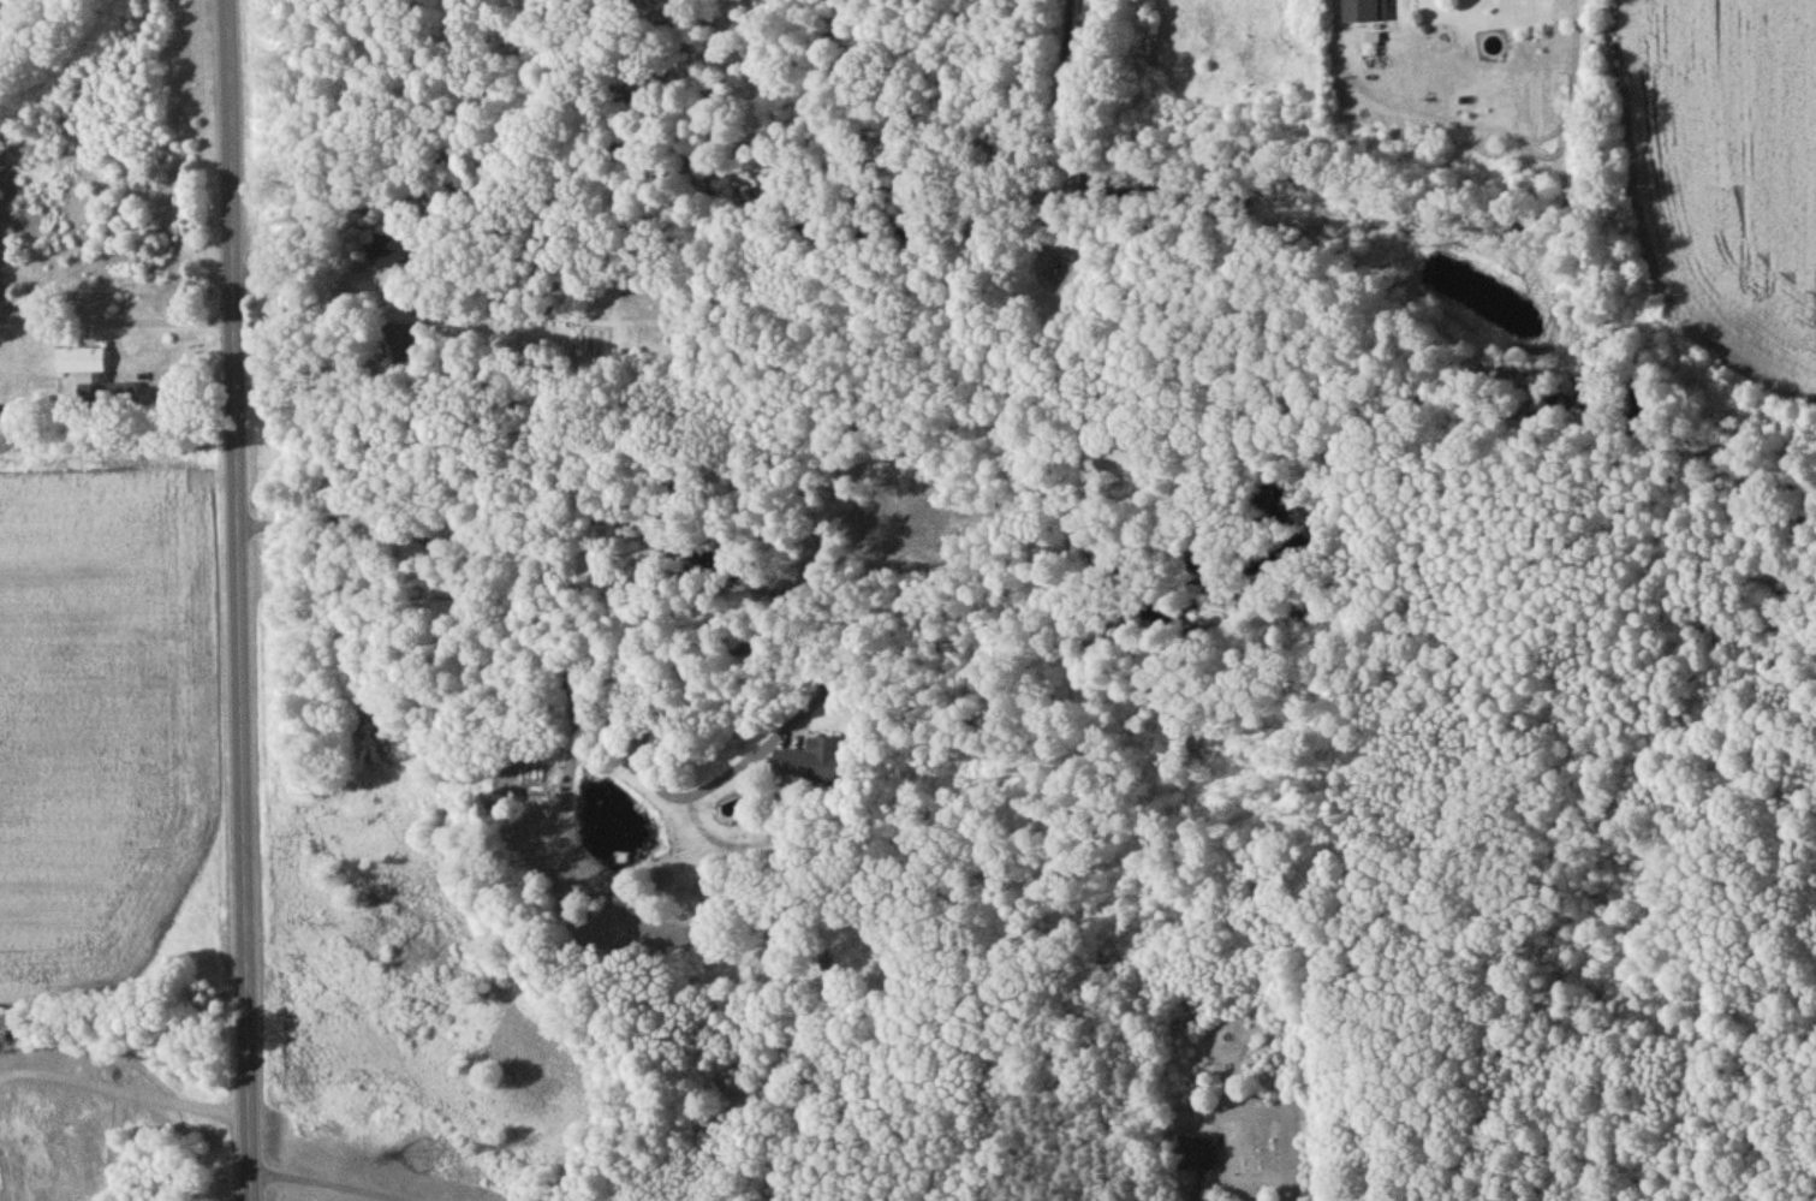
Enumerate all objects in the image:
building: (1360, 13)
road: (1055, 135)
building: (386, 255)
road: (161, 325)
building: (79, 363)
building: (2, 427)
road: (237, 600)
road: (561, 626)
building: (811, 765)
power tower: (418, 1153)
building: (1197, 1157)
road: (326, 1187)

